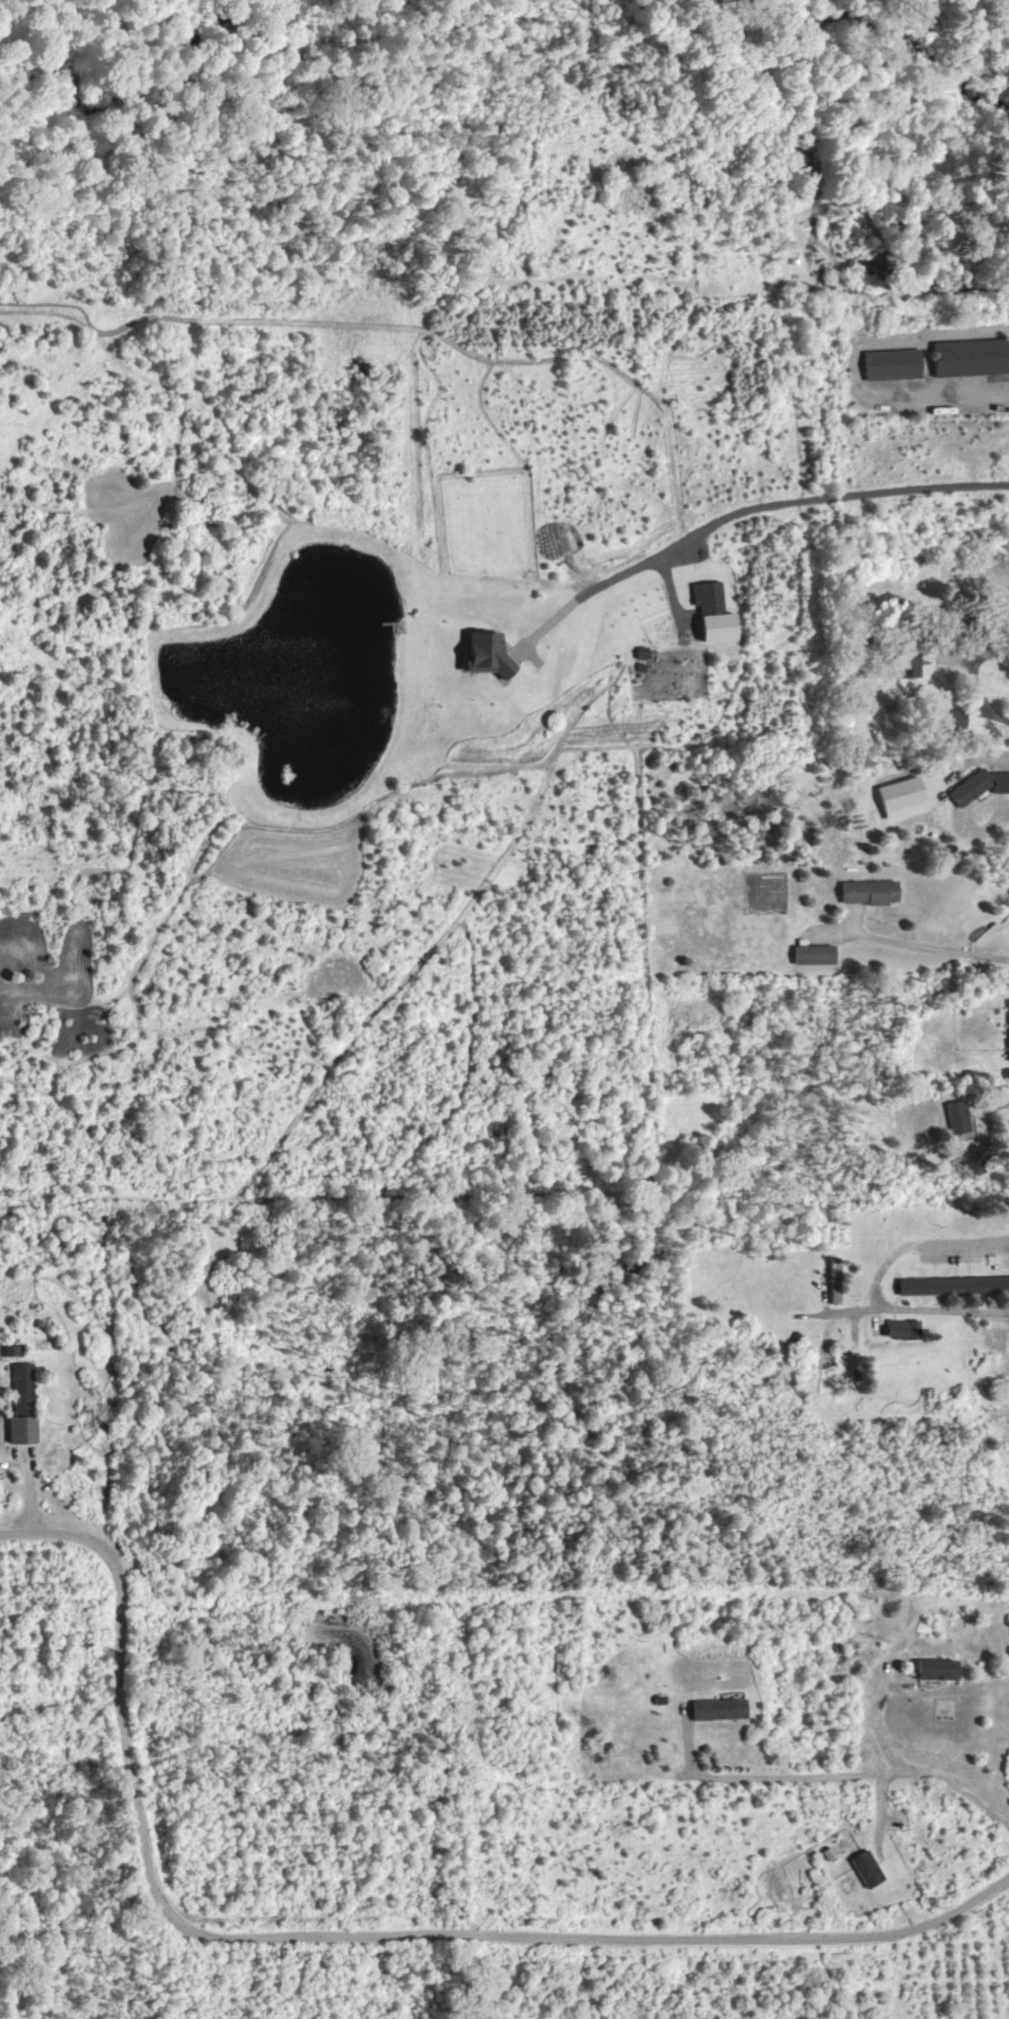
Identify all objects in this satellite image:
road: (902, 292)
road: (855, 355)
building: (971, 357)
building: (893, 364)
road: (751, 499)
building: (712, 611)
building: (486, 652)
building: (909, 664)
road: (974, 680)
building: (979, 785)
building: (901, 797)
building: (868, 891)
road: (928, 940)
building: (813, 954)
building: (1008, 1025)
road: (995, 1106)
building: (957, 1117)
building: (976, 1158)
road: (973, 1235)
building: (953, 1285)
building: (834, 1293)
road: (916, 1305)
building: (902, 1329)
building: (10, 1349)
building: (22, 1404)
road: (27, 1474)
building: (935, 1672)
building: (719, 1709)
road: (877, 1721)
road: (843, 1775)
building: (867, 1868)
road: (351, 1933)

